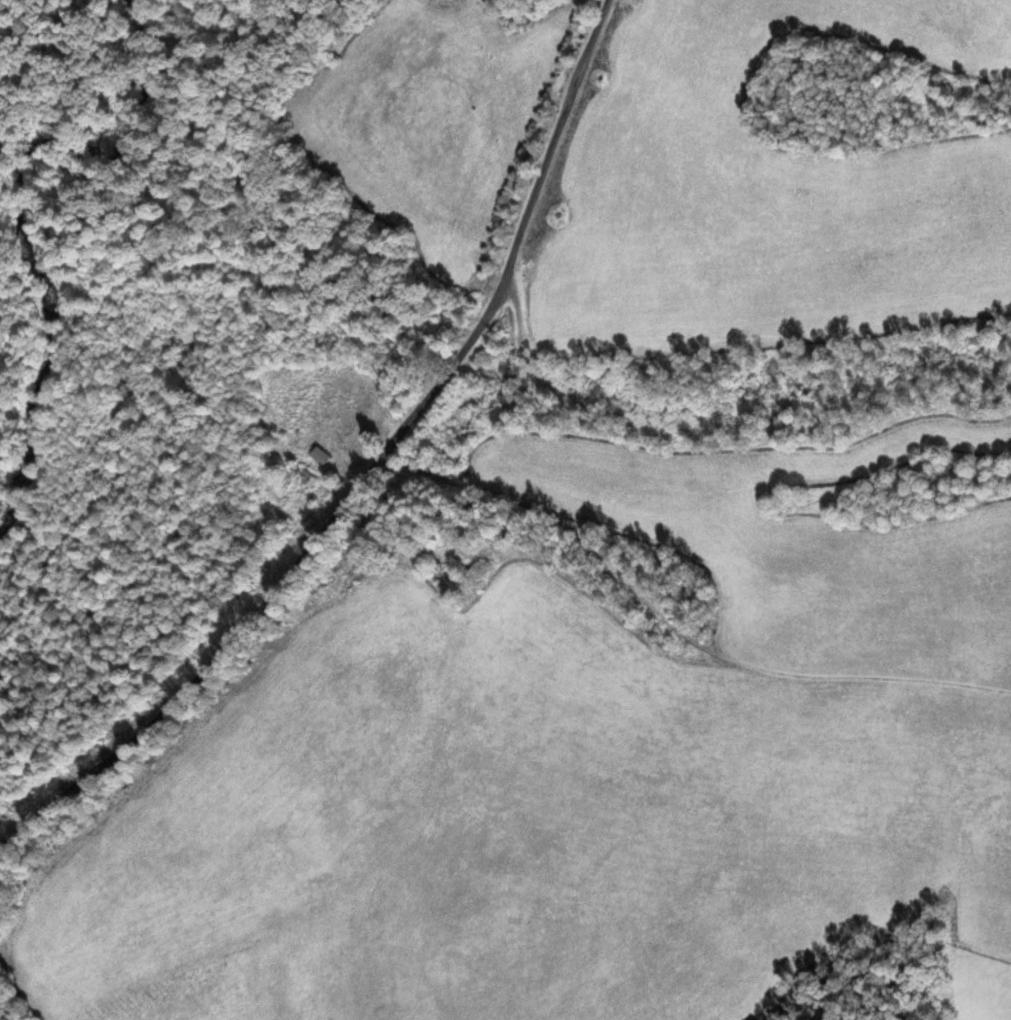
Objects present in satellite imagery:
building: (355, 417)
road: (371, 471)

